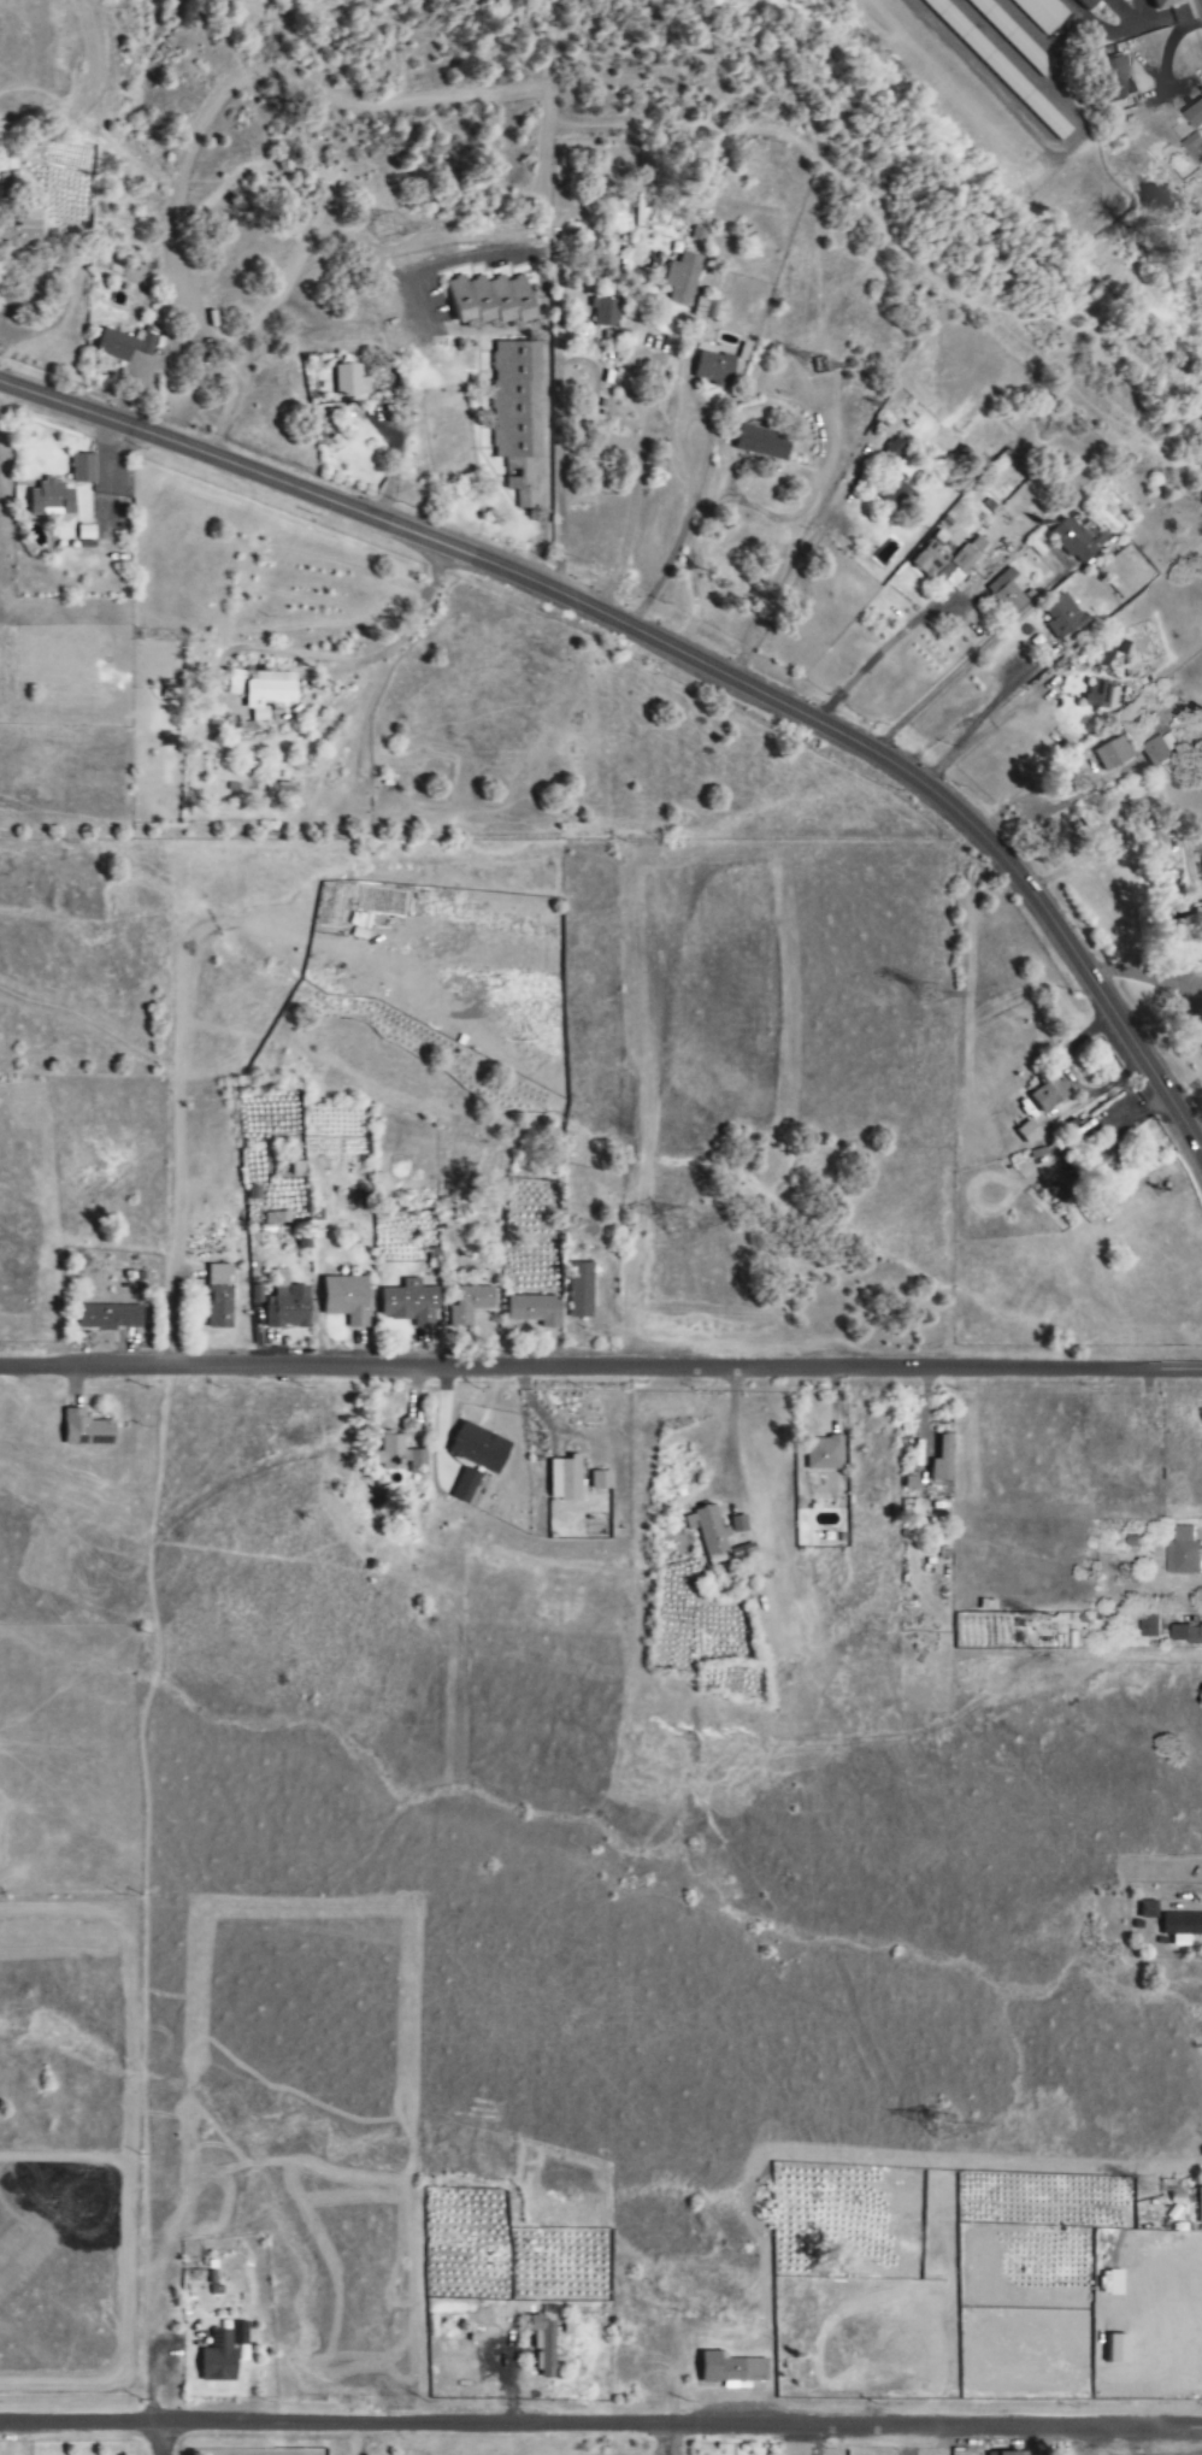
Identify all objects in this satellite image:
building: (1086, 2)
building: (1163, 4)
building: (1043, 13)
building: (1120, 78)
building: (1012, 80)
building: (1196, 118)
building: (1195, 149)
power tower: (385, 230)
building: (23, 232)
building: (683, 279)
building: (493, 300)
building: (711, 311)
building: (606, 313)
building: (125, 346)
building: (714, 370)
power tower: (821, 370)
building: (348, 382)
building: (519, 417)
building: (764, 443)
building: (83, 470)
building: (53, 500)
building: (1067, 541)
building: (949, 560)
building: (1002, 593)
building: (1059, 617)
road: (685, 657)
road: (346, 661)
building: (270, 695)
building: (1096, 696)
building: (1154, 752)
building: (1109, 754)
power tower: (935, 1000)
building: (1044, 1095)
building: (1024, 1132)
building: (1101, 1153)
building: (273, 1218)
power tower: (679, 1224)
building: (582, 1290)
building: (220, 1297)
building: (348, 1300)
building: (411, 1303)
building: (471, 1305)
building: (289, 1308)
building: (536, 1311)
building: (111, 1318)
road: (601, 1366)
building: (88, 1430)
building: (481, 1448)
building: (820, 1454)
building: (397, 1456)
building: (936, 1461)
building: (566, 1479)
building: (602, 1480)
building: (466, 1485)
building: (709, 1531)
building: (1179, 1554)
building: (1145, 1627)
power tower: (1042, 1633)
building: (1184, 1636)
building: (1144, 1911)
building: (1178, 1927)
power tower: (943, 2129)
power tower: (1150, 2201)
building: (1197, 2207)
building: (544, 2347)
building: (219, 2359)
building: (732, 2367)
road: (601, 2422)
road: (163, 2438)
road: (670, 2439)
building: (1008, 2453)

